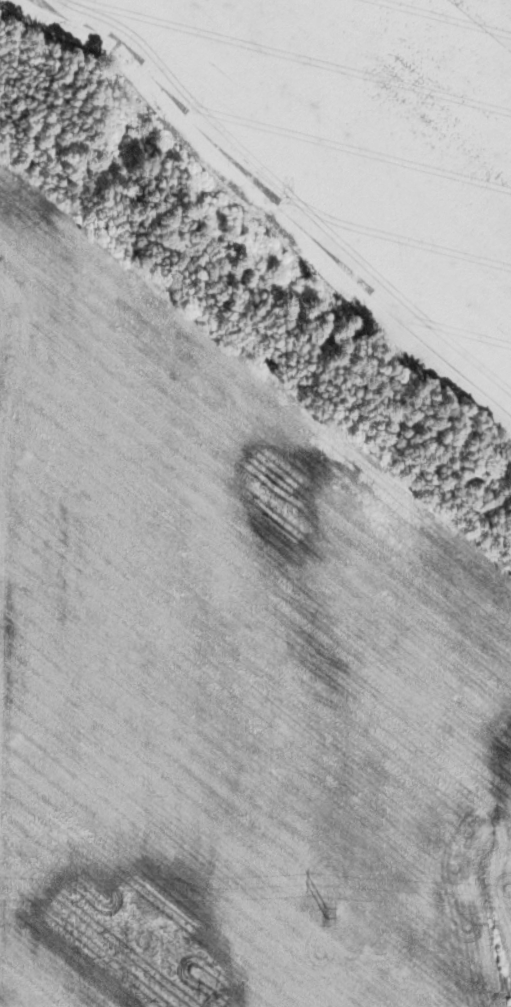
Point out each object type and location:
power tower: (322, 913)

